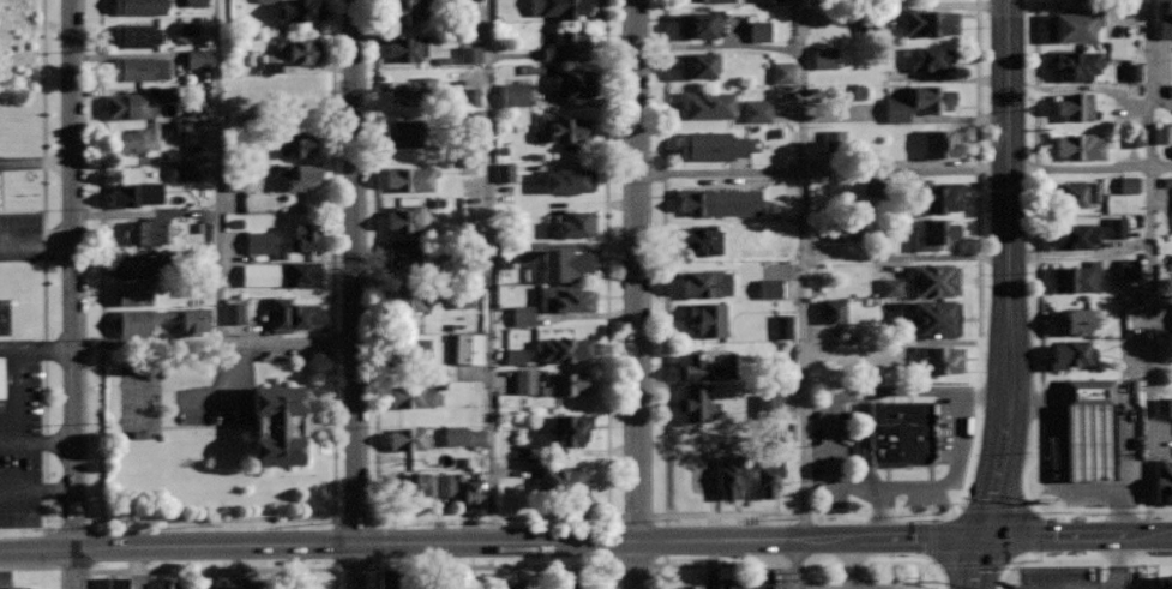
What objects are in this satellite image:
building: (266, 0)
building: (702, 0)
building: (768, 0)
building: (194, 2)
building: (140, 6)
building: (561, 7)
building: (297, 10)
building: (417, 10)
building: (1165, 18)
building: (930, 20)
building: (1074, 23)
building: (697, 24)
building: (187, 28)
building: (759, 31)
building: (136, 35)
building: (569, 44)
building: (411, 46)
road: (717, 48)
building: (302, 49)
building: (469, 54)
building: (824, 56)
building: (196, 58)
building: (930, 58)
building: (269, 62)
building: (698, 64)
building: (1076, 64)
building: (139, 67)
building: (781, 72)
building: (1132, 72)
building: (576, 82)
building: (1170, 89)
building: (414, 90)
building: (167, 91)
building: (513, 94)
building: (470, 96)
building: (301, 98)
building: (916, 102)
building: (708, 103)
building: (130, 104)
building: (1072, 104)
building: (756, 110)
building: (565, 126)
building: (192, 132)
building: (404, 132)
building: (1164, 133)
building: (1132, 137)
building: (131, 138)
building: (833, 139)
building: (295, 142)
building: (940, 142)
building: (711, 144)
building: (1077, 145)
parking lot: (31, 162)
road: (35, 162)
road: (903, 170)
building: (182, 172)
road: (218, 172)
building: (504, 172)
building: (296, 174)
building: (414, 178)
building: (569, 179)
building: (1167, 181)
building: (1129, 184)
building: (1078, 192)
building: (137, 193)
building: (937, 196)
building: (720, 200)
building: (407, 216)
building: (575, 222)
building: (148, 230)
building: (843, 230)
building: (932, 232)
building: (1087, 233)
building: (303, 236)
parking lot: (26, 238)
building: (701, 240)
building: (258, 241)
road: (35, 242)
building: (403, 252)
building: (506, 258)
road: (100, 259)
building: (566, 262)
building: (138, 265)
building: (1130, 268)
road: (1149, 268)
road: (42, 269)
road: (491, 270)
road: (801, 270)
road: (1009, 271)
building: (281, 272)
building: (1076, 278)
building: (924, 281)
building: (710, 282)
building: (769, 288)
building: (132, 293)
road: (72, 294)
road: (351, 294)
road: (636, 294)
building: (565, 296)
building: (407, 299)
building: (1131, 303)
building: (833, 309)
building: (233, 313)
building: (5, 314)
building: (294, 314)
building: (522, 315)
building: (708, 318)
building: (933, 318)
building: (194, 319)
building: (134, 320)
building: (1078, 320)
road: (1034, 325)
building: (783, 326)
road: (212, 344)
building: (468, 348)
building: (563, 348)
road: (7, 349)
road: (44, 349)
building: (409, 349)
building: (1071, 353)
building: (515, 356)
building: (937, 361)
building: (707, 363)
road: (332, 375)
building: (1, 378)
building: (524, 381)
building: (565, 383)
building: (1093, 391)
building: (409, 395)
building: (693, 403)
road: (16, 404)
building: (767, 404)
building: (1162, 407)
building: (277, 422)
building: (567, 428)
building: (900, 431)
parking lot: (24, 432)
building: (455, 435)
building: (408, 438)
building: (1095, 441)
road: (44, 444)
building: (731, 474)
building: (769, 475)
building: (1164, 479)
building: (557, 480)
building: (445, 485)
building: (415, 487)
building: (473, 491)
road: (37, 493)
road: (807, 513)
road: (488, 517)
road: (95, 521)
road: (1078, 536)
traffic signals: (987, 539)
road: (531, 541)
traffic signals: (354, 543)
road: (38, 548)
road: (1076, 555)
road: (975, 563)
road: (489, 564)
road: (797, 564)
road: (799, 565)
road: (41, 566)
road: (212, 570)
building: (393, 579)
building: (1162, 581)
building: (118, 582)
building: (733, 583)
building: (256, 584)
building: (308, 584)
building: (173, 585)
building: (17, 587)
building: (221, 587)
building: (687, 587)
building: (764, 587)
building: (469, 588)
building: (570, 588)

